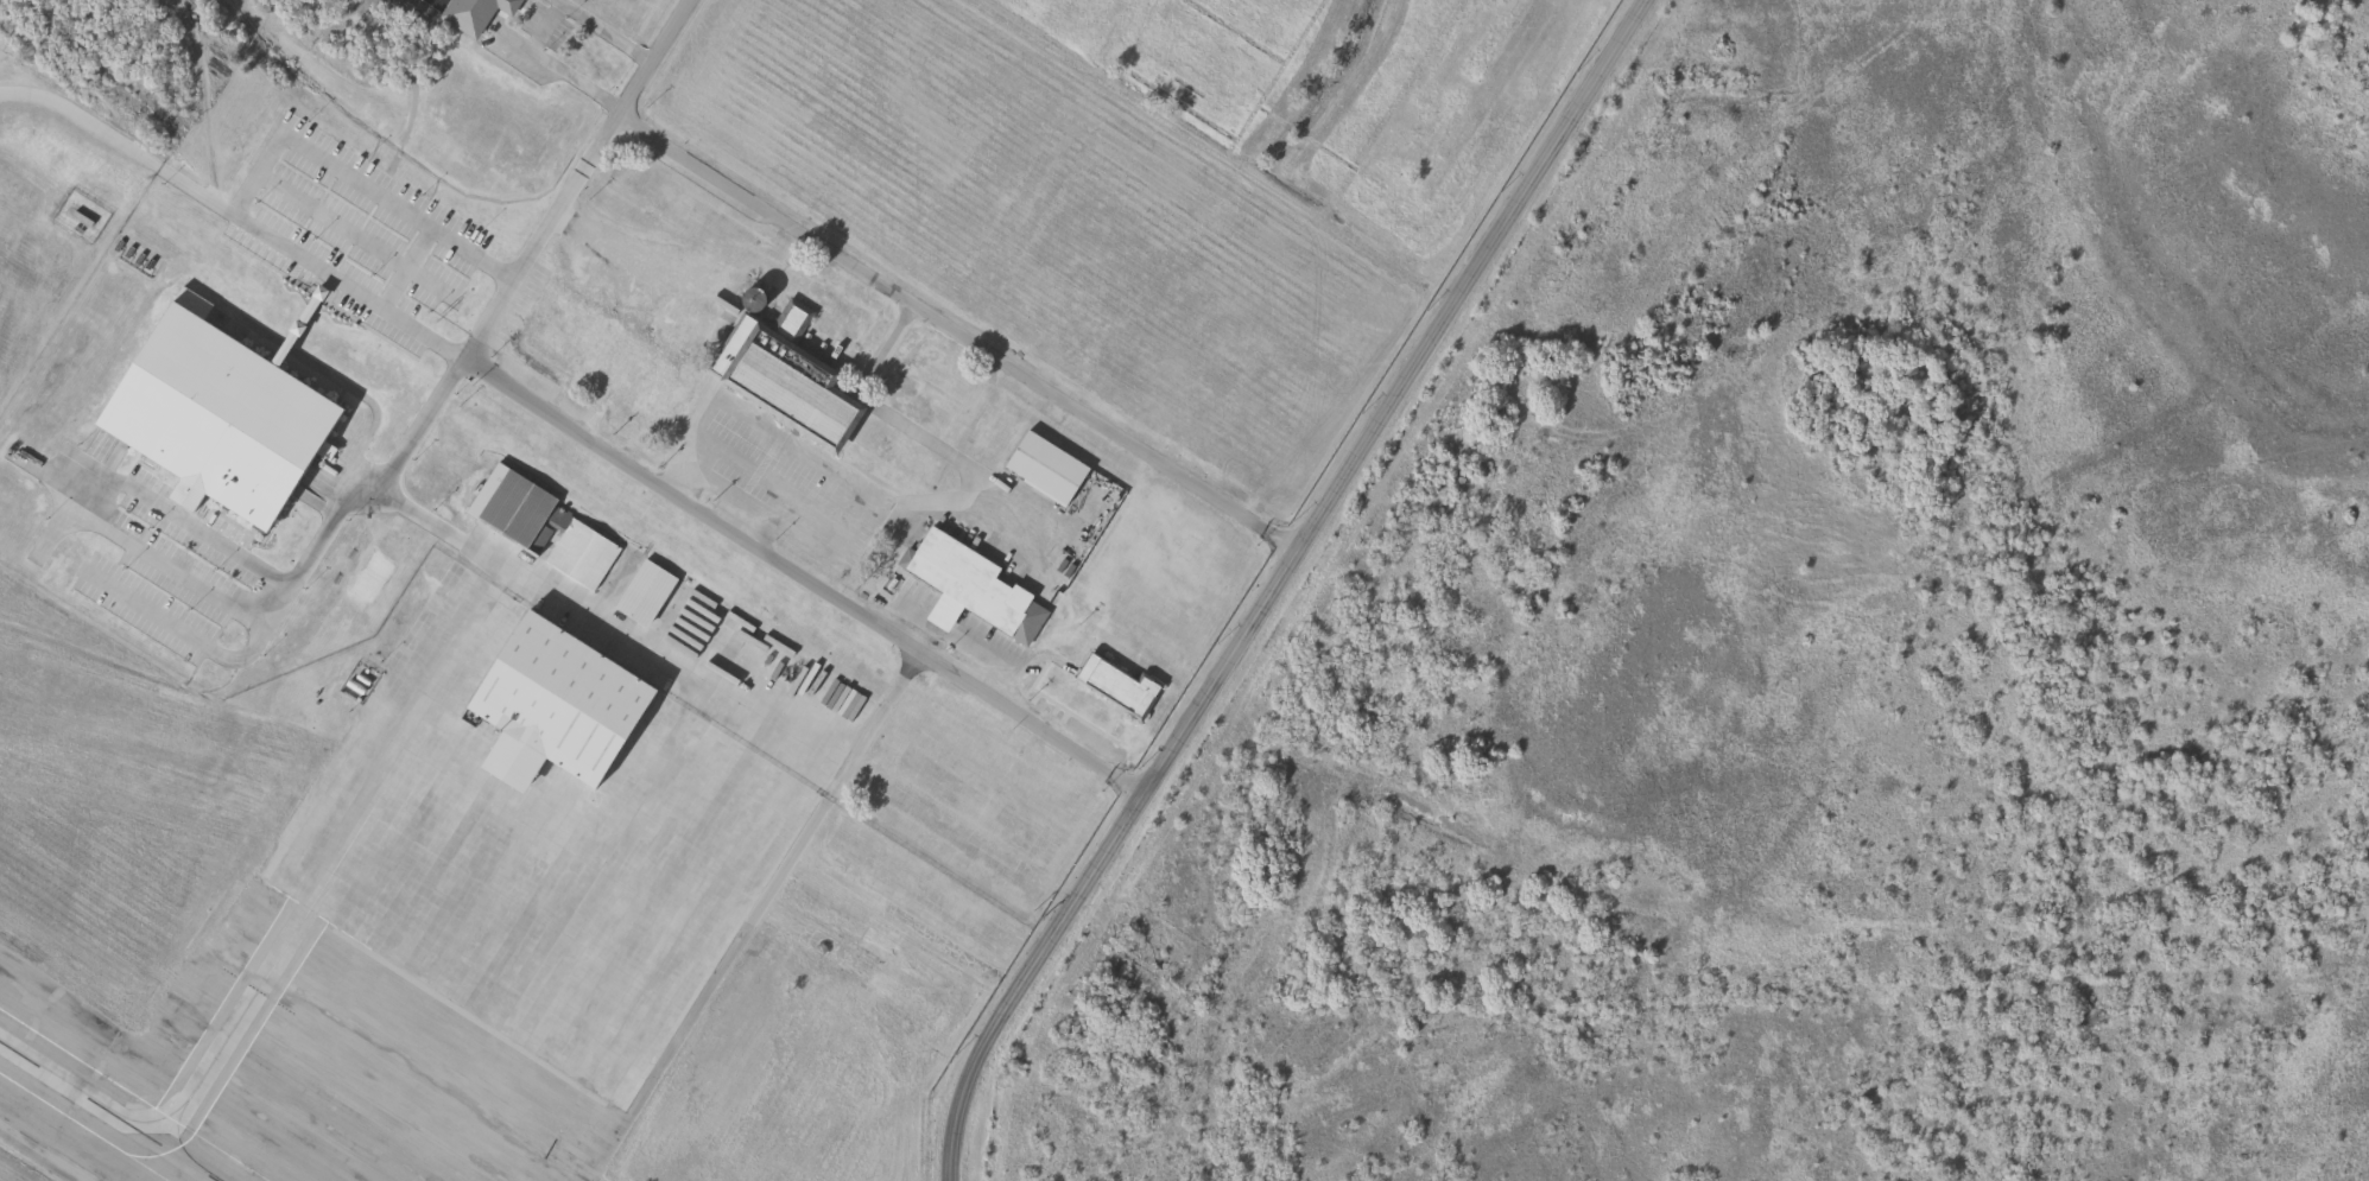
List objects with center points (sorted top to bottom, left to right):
building: (471, 13)
road: (547, 19)
road: (81, 119)
road: (1236, 144)
road: (419, 167)
road: (252, 171)
road: (191, 189)
airport: (55, 203)
road: (403, 263)
road: (956, 334)
building: (601, 358)
building: (786, 381)
road: (351, 386)
building: (211, 417)
road: (626, 455)
building: (1041, 469)
road: (64, 475)
road: (766, 481)
building: (538, 528)
road: (294, 573)
road: (1278, 582)
building: (968, 585)
building: (641, 595)
road: (671, 669)
building: (1113, 686)
building: (550, 707)
airport: (446, 920)
airport runway: (125, 1100)

